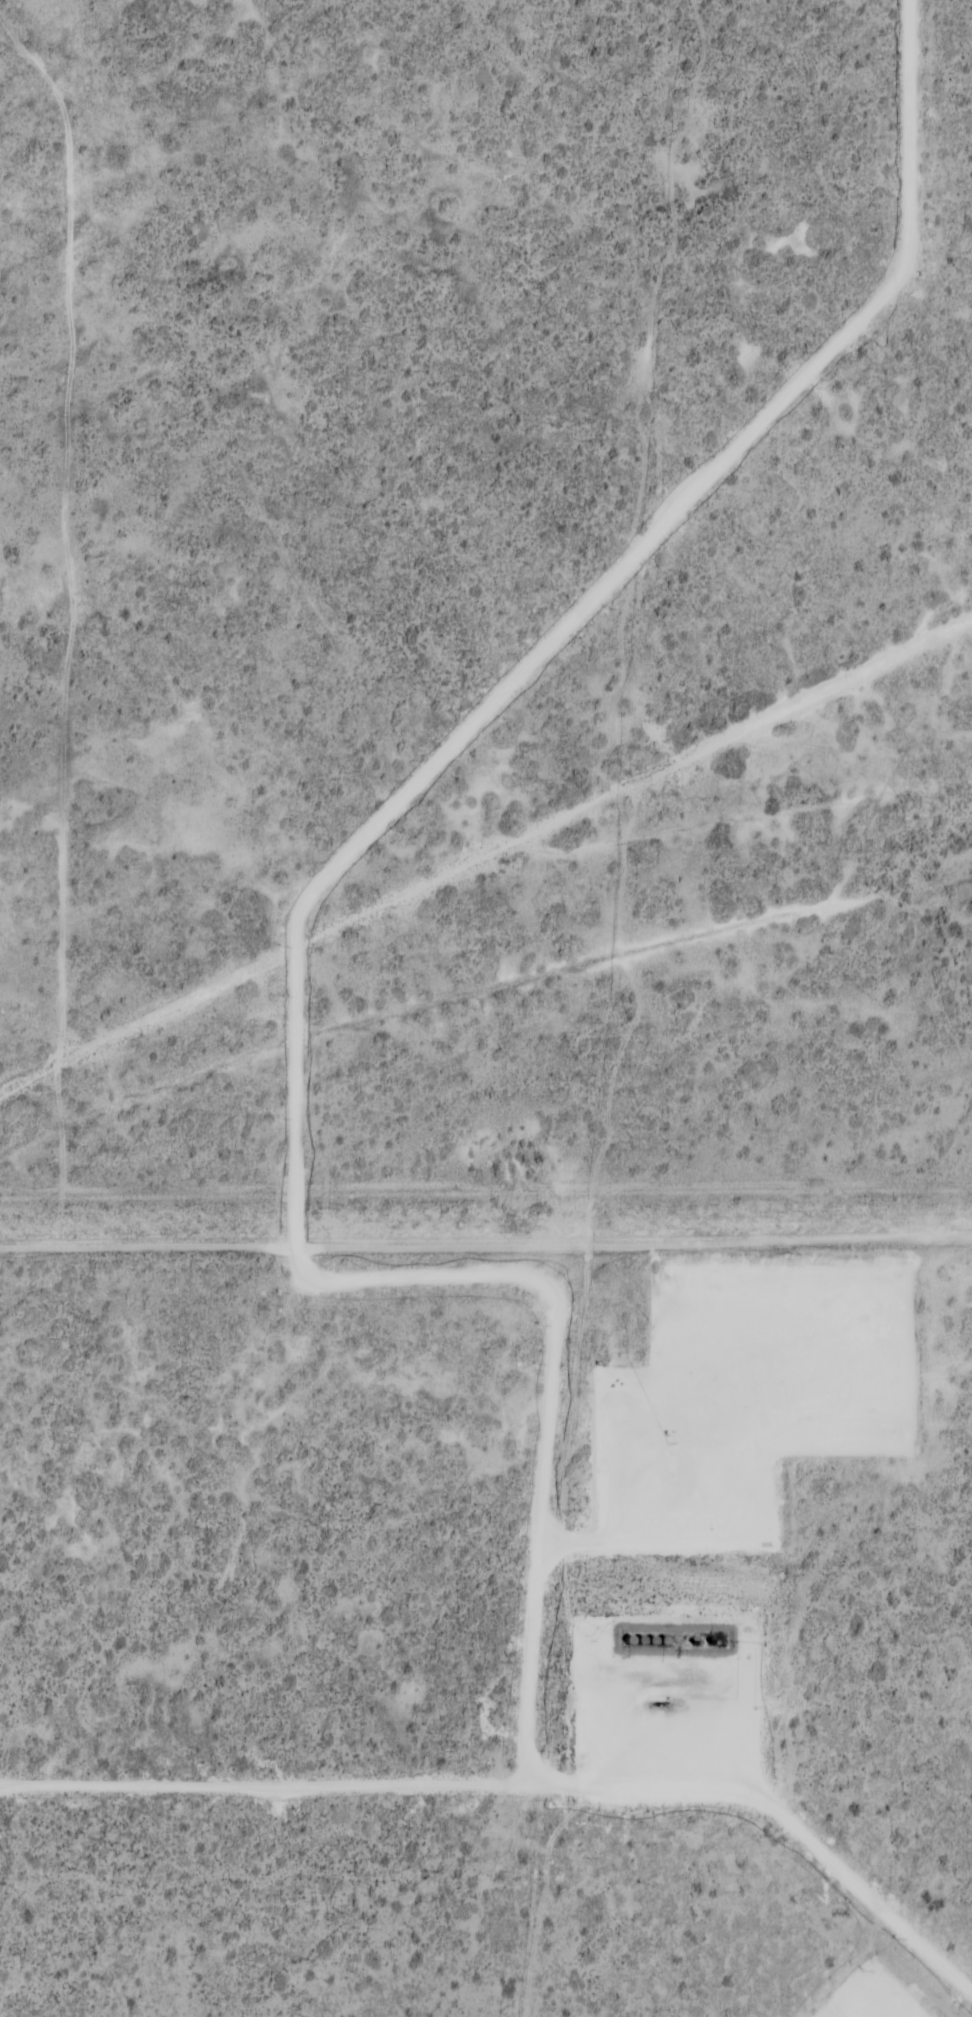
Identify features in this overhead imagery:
road: (530, 1763)

